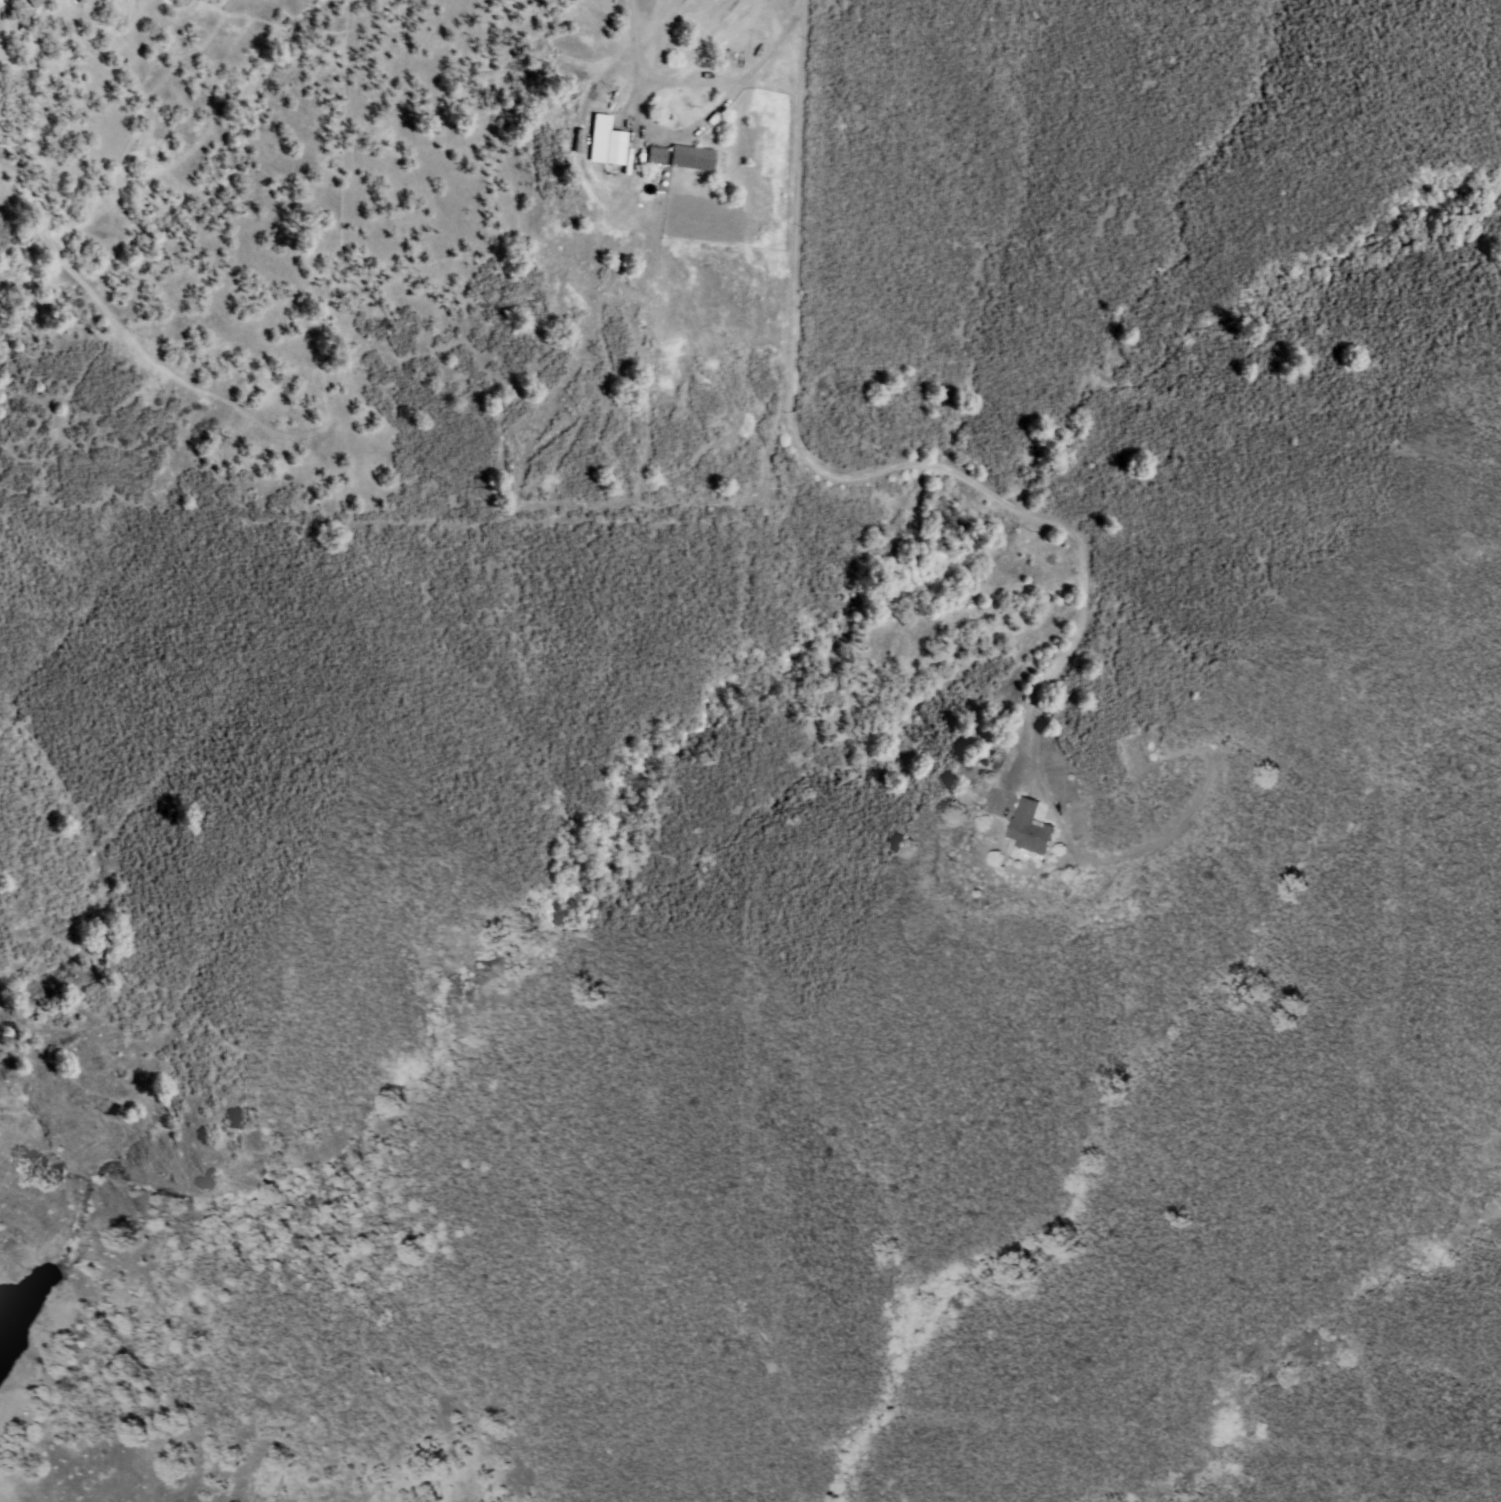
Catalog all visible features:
building: (36, 3)
building: (23, 39)
building: (614, 148)
building: (658, 157)
building: (693, 160)
building: (1028, 832)

